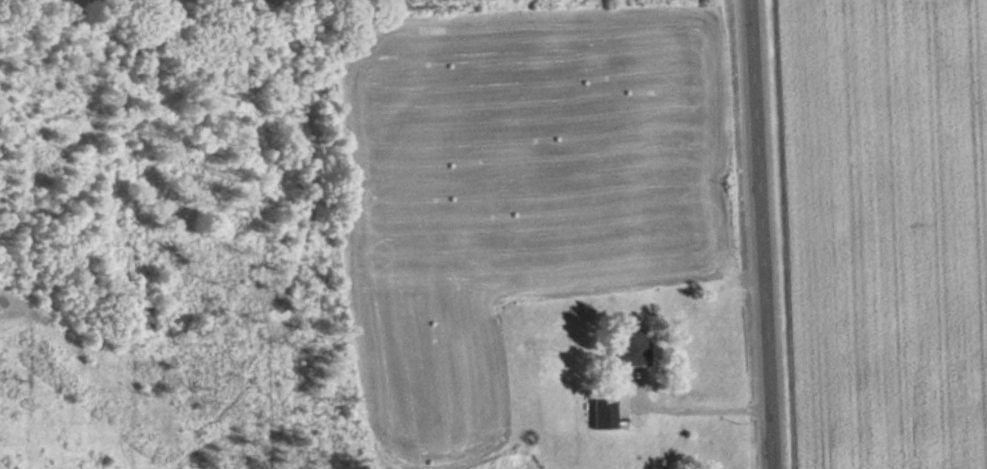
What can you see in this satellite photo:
road: (760, 234)
building: (629, 349)
building: (604, 416)

